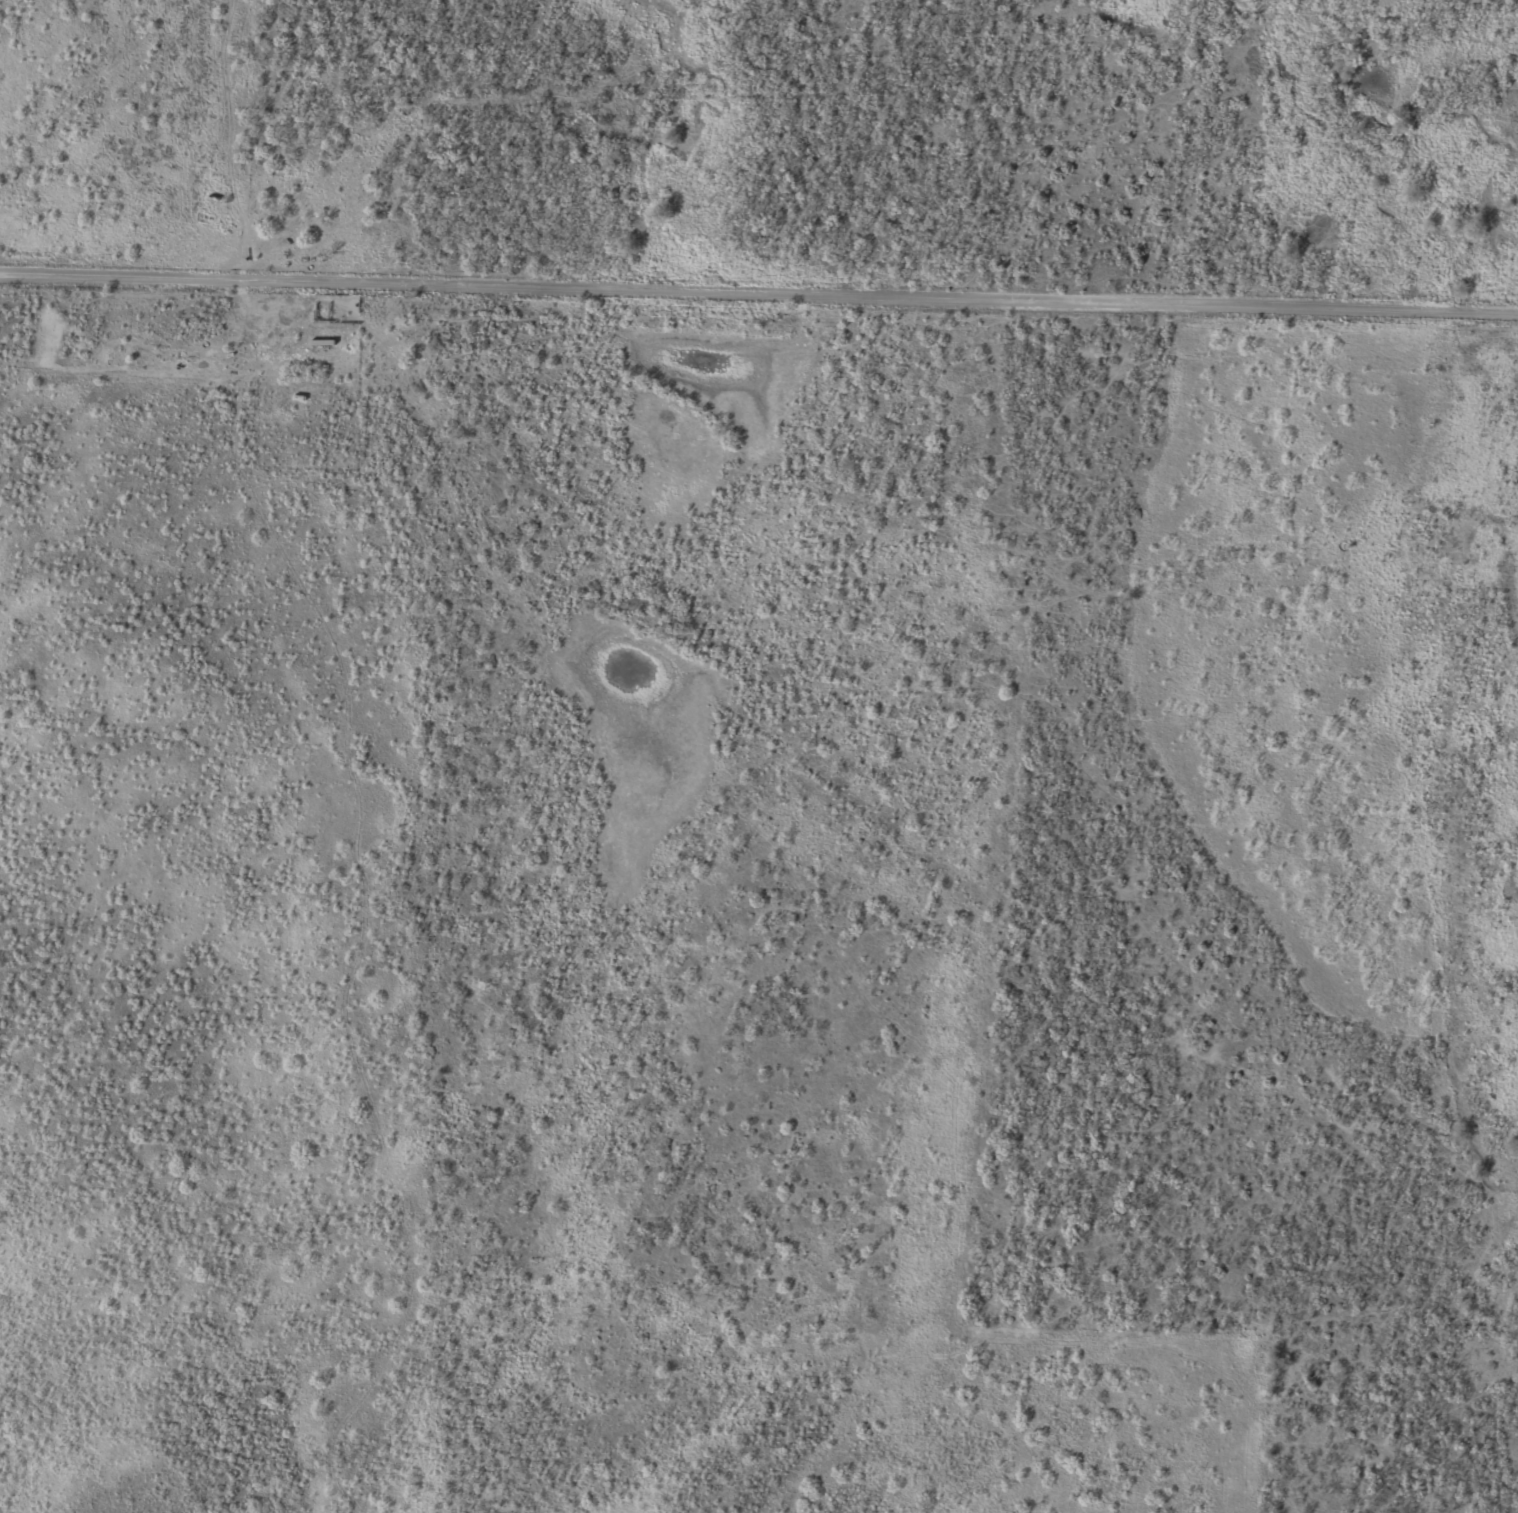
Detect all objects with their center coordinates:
road: (758, 290)

